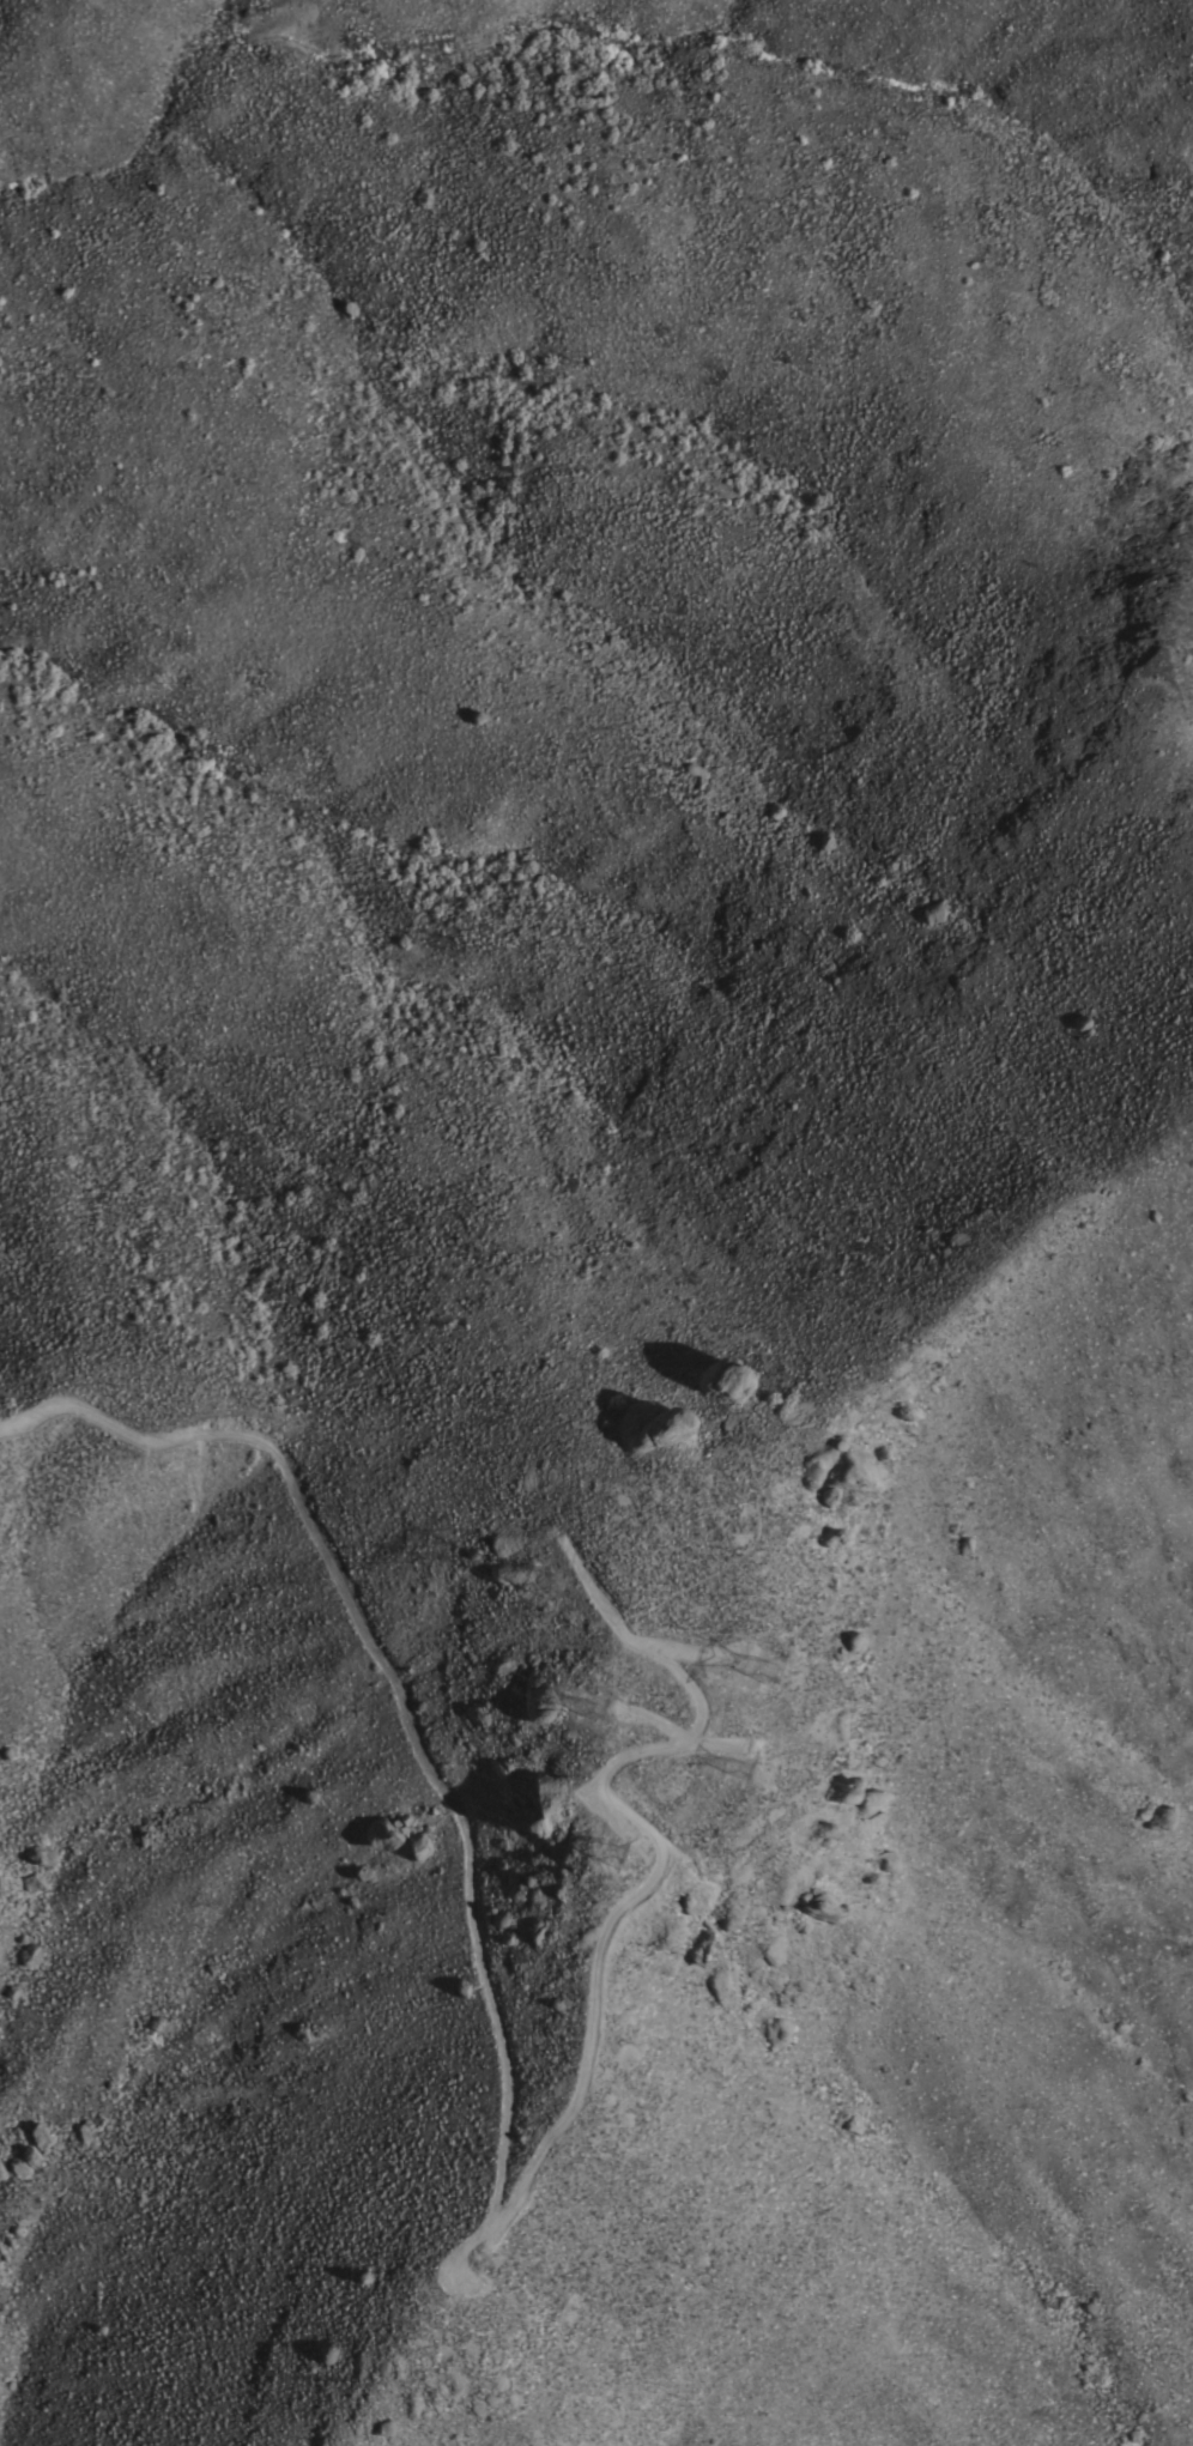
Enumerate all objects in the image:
building: (610, 641)
building: (695, 777)
building: (929, 912)
building: (723, 1381)
building: (664, 1429)
building: (848, 1460)
power tower: (550, 1585)
building: (849, 1643)
power tower: (751, 1670)
power tower: (599, 1714)
power tower: (737, 1768)
building: (540, 1814)
building: (375, 1836)
building: (416, 1845)
building: (36, 1854)
power tower: (614, 1855)
building: (29, 1881)
building: (26, 1954)
building: (776, 2033)
building: (83, 2130)
building: (36, 2135)
building: (20, 2161)

